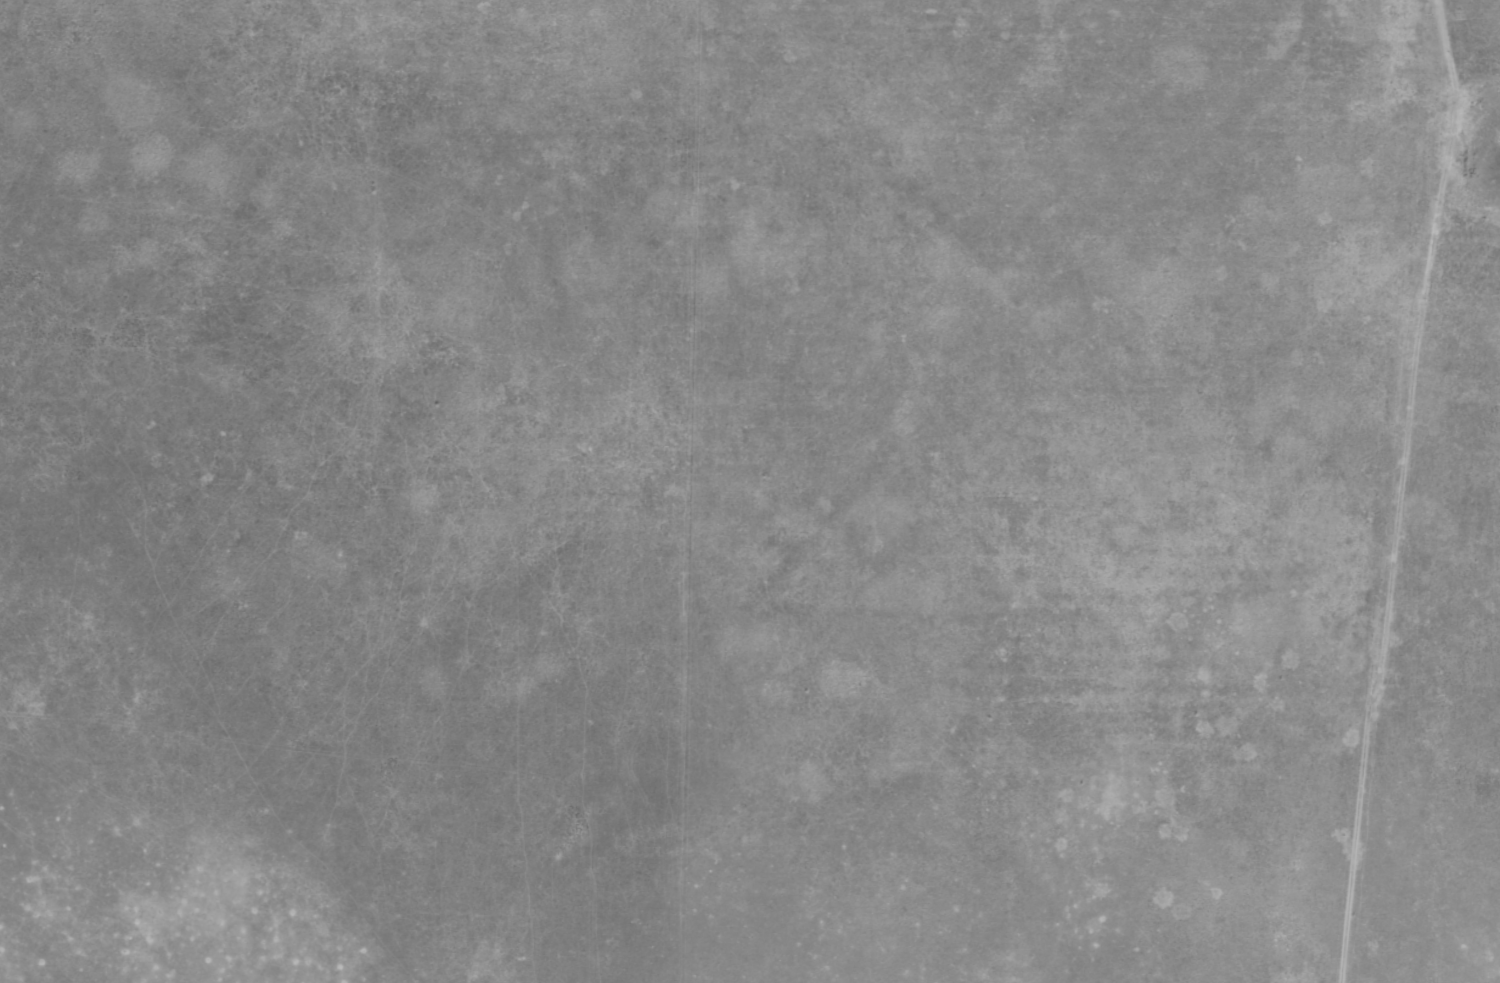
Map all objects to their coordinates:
road: (1455, 491)

